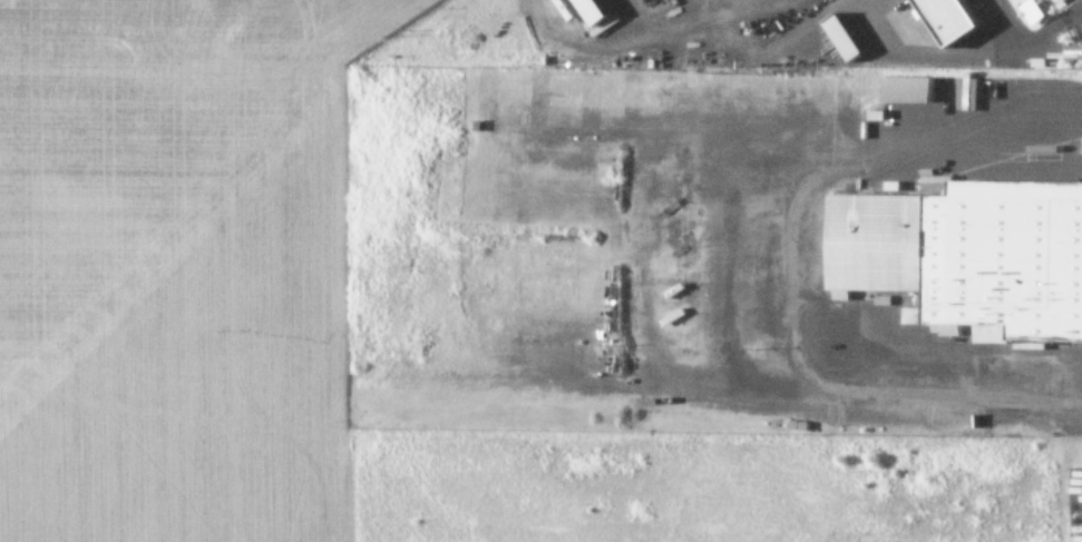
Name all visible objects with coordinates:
building: (1054, 0)
building: (1031, 10)
building: (589, 11)
building: (945, 19)
building: (841, 36)
building: (906, 88)
building: (964, 90)
building: (968, 258)
crop: (173, 267)
road: (789, 275)

